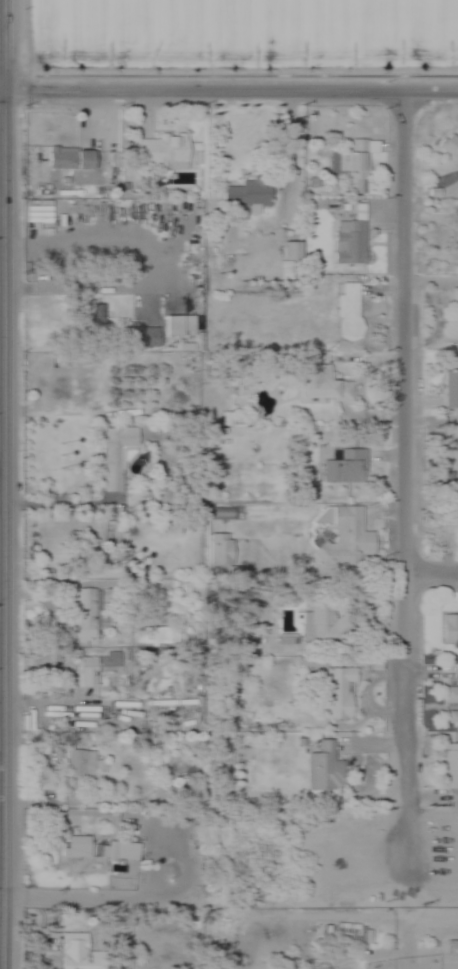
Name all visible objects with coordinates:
crop: (243, 34)
road: (229, 84)
building: (448, 141)
building: (158, 153)
building: (67, 160)
building: (354, 165)
building: (245, 194)
building: (37, 213)
building: (347, 234)
building: (289, 252)
building: (346, 311)
building: (454, 313)
building: (171, 315)
road: (401, 328)
building: (145, 338)
building: (312, 387)
building: (450, 390)
building: (116, 457)
building: (342, 466)
road: (3, 484)
building: (448, 510)
building: (340, 537)
building: (217, 550)
road: (431, 577)
building: (83, 615)
building: (323, 625)
building: (449, 631)
building: (152, 636)
road: (406, 662)
building: (93, 669)
building: (336, 694)
building: (450, 695)
building: (453, 721)
building: (78, 764)
building: (450, 766)
building: (322, 768)
building: (74, 847)
building: (116, 851)
building: (348, 934)
building: (425, 948)
building: (451, 948)
building: (75, 952)
road: (405, 952)

